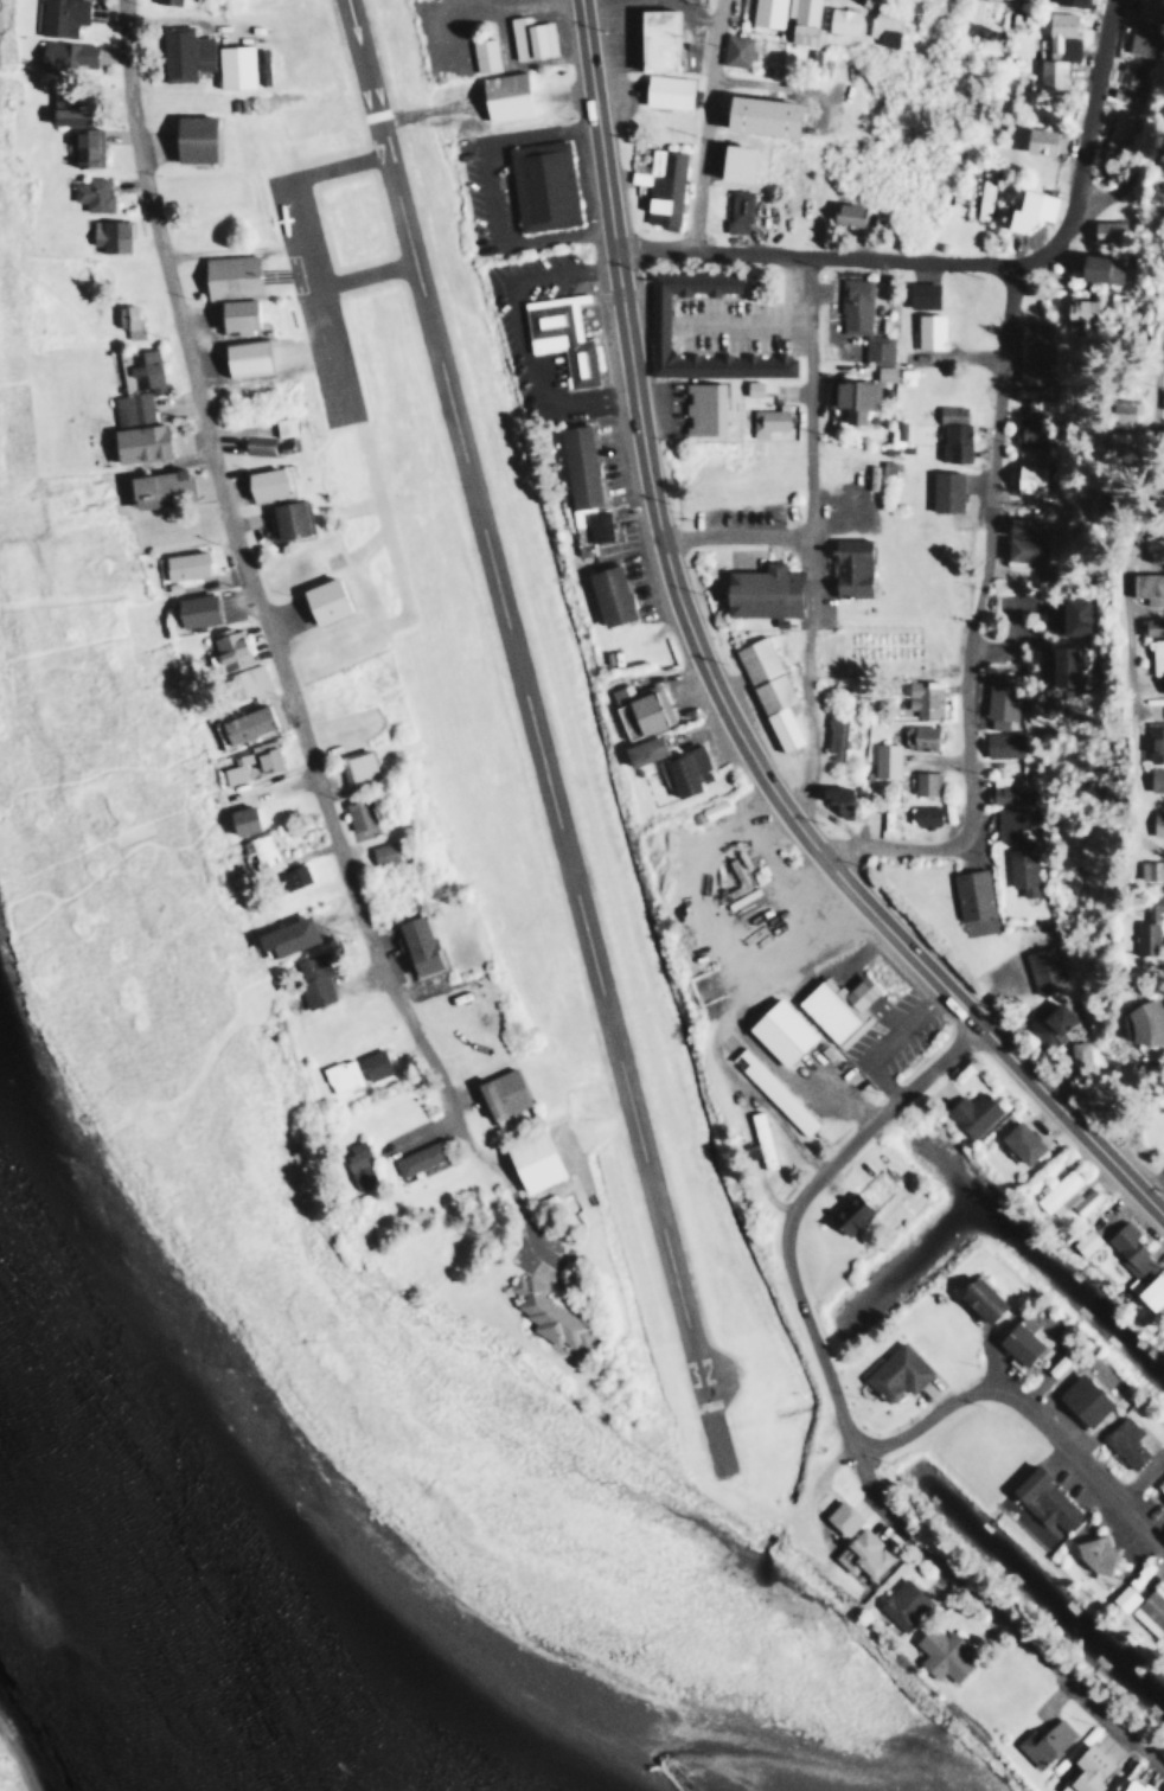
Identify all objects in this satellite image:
building: (165, 1)
building: (766, 12)
building: (57, 15)
building: (799, 19)
building: (840, 19)
building: (884, 25)
building: (1143, 27)
building: (527, 36)
building: (652, 38)
building: (1056, 49)
building: (181, 52)
building: (64, 53)
building: (481, 53)
building: (231, 64)
building: (1131, 75)
building: (665, 89)
building: (501, 94)
building: (65, 108)
building: (757, 113)
road: (708, 123)
building: (1118, 128)
building: (190, 136)
building: (1037, 140)
building: (83, 146)
road: (1158, 151)
building: (733, 160)
building: (539, 184)
building: (659, 185)
building: (984, 190)
building: (90, 192)
road: (1106, 197)
building: (1028, 207)
building: (737, 210)
building: (844, 213)
building: (1107, 230)
building: (107, 234)
airport taxiway: (305, 247)
road: (816, 255)
building: (1096, 267)
building: (226, 275)
airport taxiway: (365, 275)
building: (920, 293)
building: (1082, 306)
building: (231, 313)
building: (859, 319)
building: (127, 320)
building: (654, 321)
building: (927, 330)
building: (558, 334)
building: (1030, 351)
building: (241, 356)
building: (137, 369)
building: (750, 386)
building: (857, 392)
building: (1158, 396)
building: (701, 407)
building: (1114, 407)
building: (129, 408)
building: (948, 411)
building: (766, 420)
building: (282, 426)
building: (1027, 431)
building: (1114, 439)
building: (952, 440)
building: (135, 441)
building: (575, 463)
building: (1027, 476)
building: (261, 481)
road: (992, 485)
building: (155, 487)
building: (942, 490)
building: (1160, 503)
building: (283, 517)
building: (594, 524)
road: (730, 532)
building: (1021, 539)
road: (802, 548)
building: (1149, 548)
building: (181, 564)
building: (846, 565)
road: (1115, 576)
building: (1140, 586)
building: (757, 590)
building: (606, 594)
building: (320, 600)
building: (193, 609)
building: (1062, 615)
airport: (452, 619)
building: (1143, 625)
road: (269, 638)
building: (228, 646)
building: (1152, 659)
building: (1055, 664)
building: (243, 682)
road: (711, 684)
building: (766, 689)
airport runway: (527, 696)
building: (922, 696)
building: (998, 698)
building: (637, 708)
building: (238, 724)
building: (917, 735)
building: (833, 736)
building: (1150, 737)
building: (1006, 744)
building: (639, 749)
building: (250, 759)
building: (883, 759)
building: (354, 767)
building: (679, 769)
building: (1149, 779)
building: (923, 782)
building: (1009, 789)
building: (833, 797)
building: (711, 807)
building: (353, 812)
building: (921, 814)
building: (238, 818)
building: (1005, 821)
building: (1152, 821)
building: (260, 850)
building: (380, 851)
building: (1021, 869)
building: (1146, 869)
building: (290, 876)
building: (970, 893)
building: (1141, 923)
building: (283, 935)
building: (415, 945)
building: (1044, 967)
building: (309, 978)
building: (836, 1006)
building: (1136, 1023)
building: (778, 1031)
building: (1076, 1050)
building: (372, 1063)
building: (339, 1074)
building: (770, 1090)
building: (498, 1093)
building: (968, 1112)
building: (757, 1140)
building: (1018, 1141)
building: (416, 1157)
building: (529, 1158)
building: (356, 1164)
road: (1157, 1179)
building: (1083, 1200)
building: (848, 1213)
building: (1082, 1241)
building: (1128, 1253)
building: (1149, 1291)
building: (977, 1298)
building: (545, 1313)
building: (1163, 1326)
building: (1017, 1339)
building: (894, 1374)
building: (1080, 1400)
road: (843, 1413)
road: (1027, 1414)
building: (1123, 1441)
building: (1159, 1483)
building: (1041, 1498)
building: (1162, 1498)
building: (839, 1517)
building: (861, 1553)
building: (1093, 1554)
building: (1121, 1597)
river: (228, 1599)
building: (901, 1604)
building: (1150, 1611)
building: (939, 1652)
building: (1042, 1741)
building: (1083, 1770)
building: (1130, 1785)

